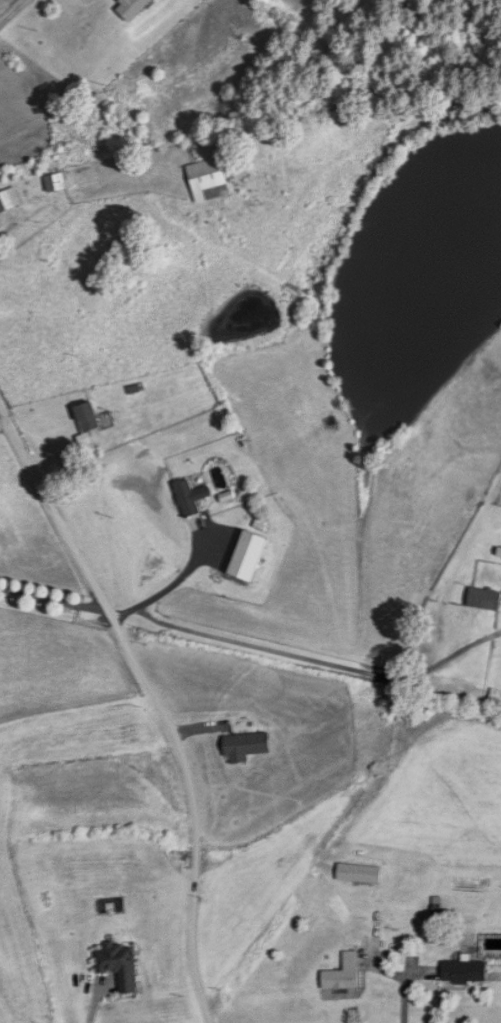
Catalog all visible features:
building: (132, 8)
road: (13, 13)
building: (208, 178)
building: (55, 181)
building: (9, 198)
building: (88, 416)
building: (191, 496)
road: (64, 529)
building: (247, 559)
road: (166, 583)
road: (54, 598)
building: (485, 598)
road: (318, 659)
building: (247, 746)
road: (196, 831)
building: (360, 872)
building: (120, 965)
building: (465, 971)
building: (345, 973)

